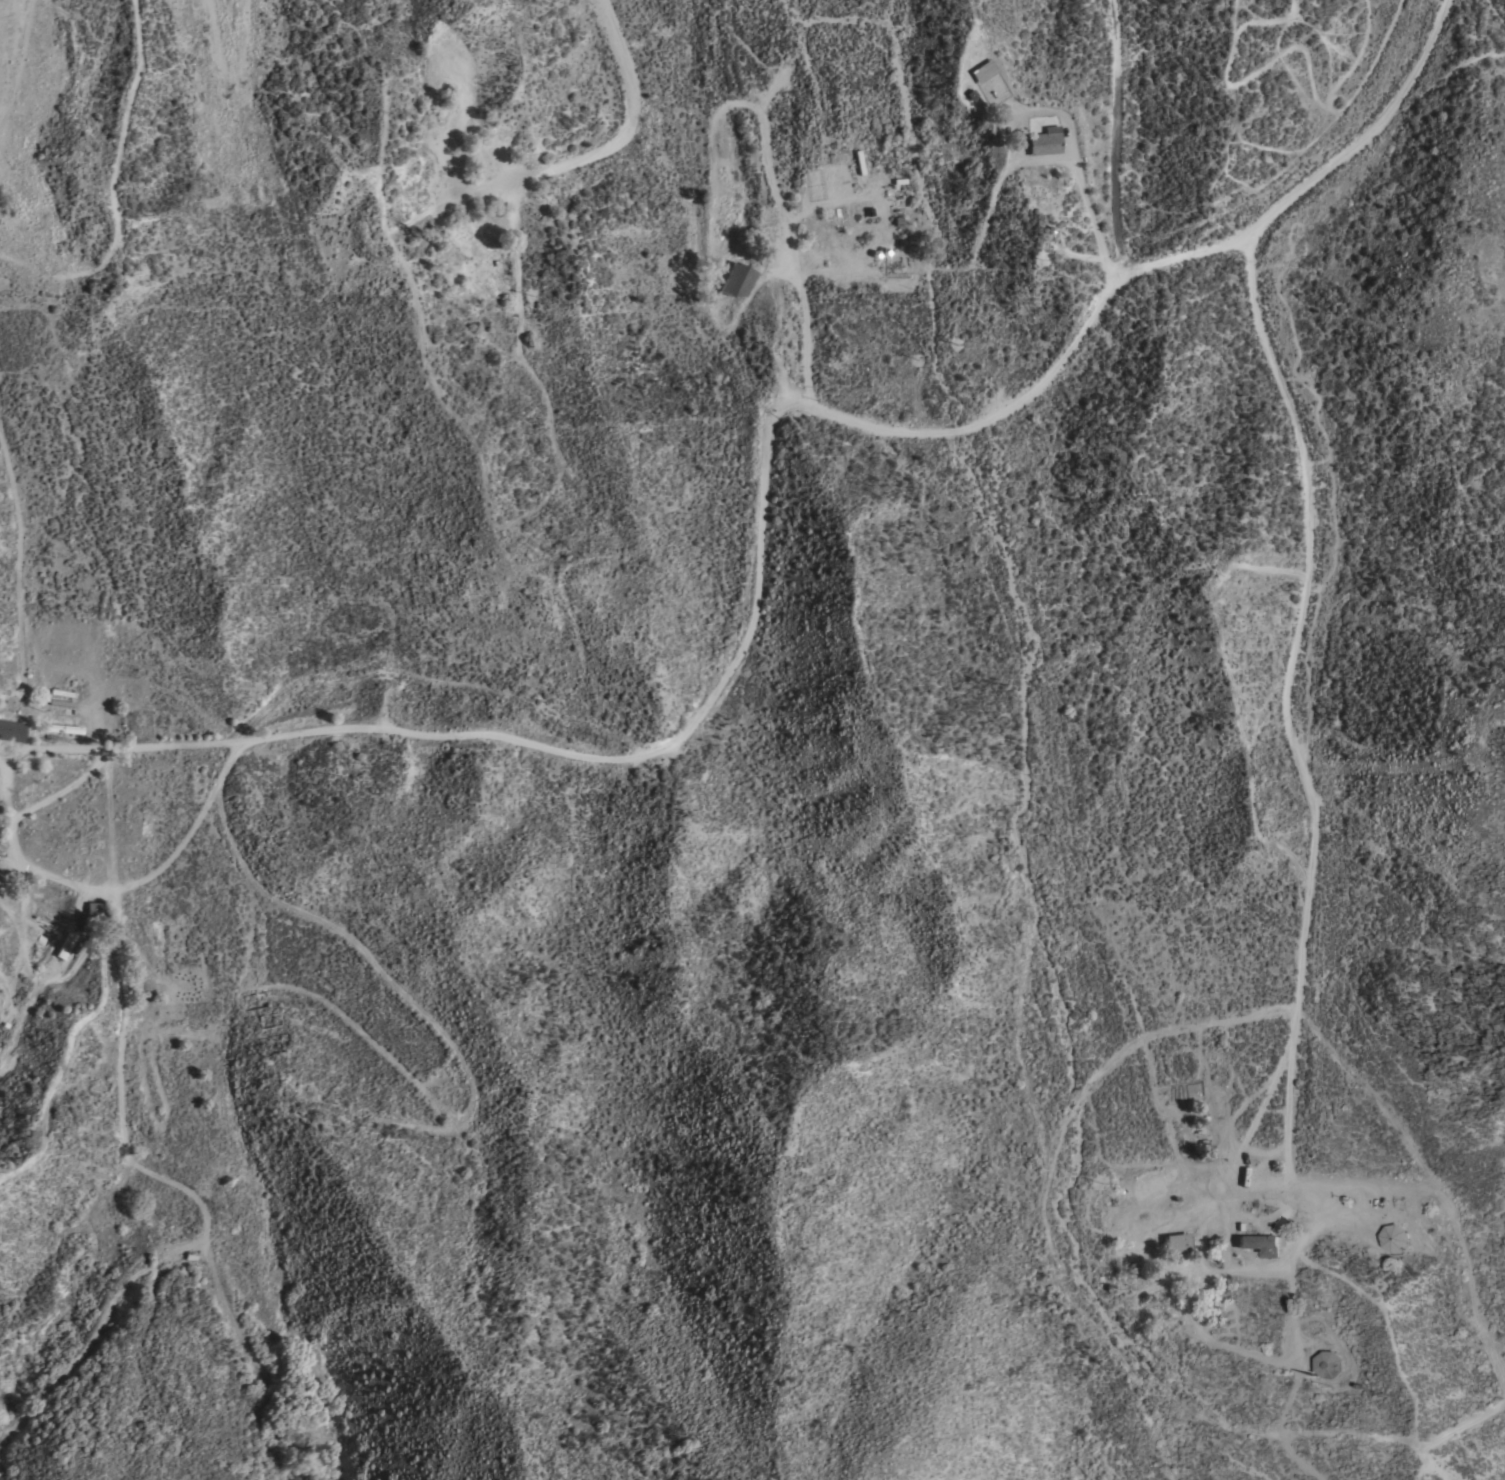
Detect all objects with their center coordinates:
road: (15, 68)
building: (976, 71)
road: (630, 114)
road: (1115, 138)
building: (1043, 141)
building: (495, 151)
road: (1086, 200)
building: (886, 233)
building: (478, 235)
road: (111, 241)
building: (484, 278)
building: (738, 278)
road: (808, 329)
road: (771, 437)
road: (18, 555)
building: (11, 731)
road: (1293, 745)
road: (29, 751)
road: (22, 815)
building: (68, 947)
road: (126, 1028)
road: (1250, 1132)
building: (1393, 1238)
building: (1177, 1243)
building: (1261, 1245)
building: (1130, 1249)
building: (1327, 1365)

